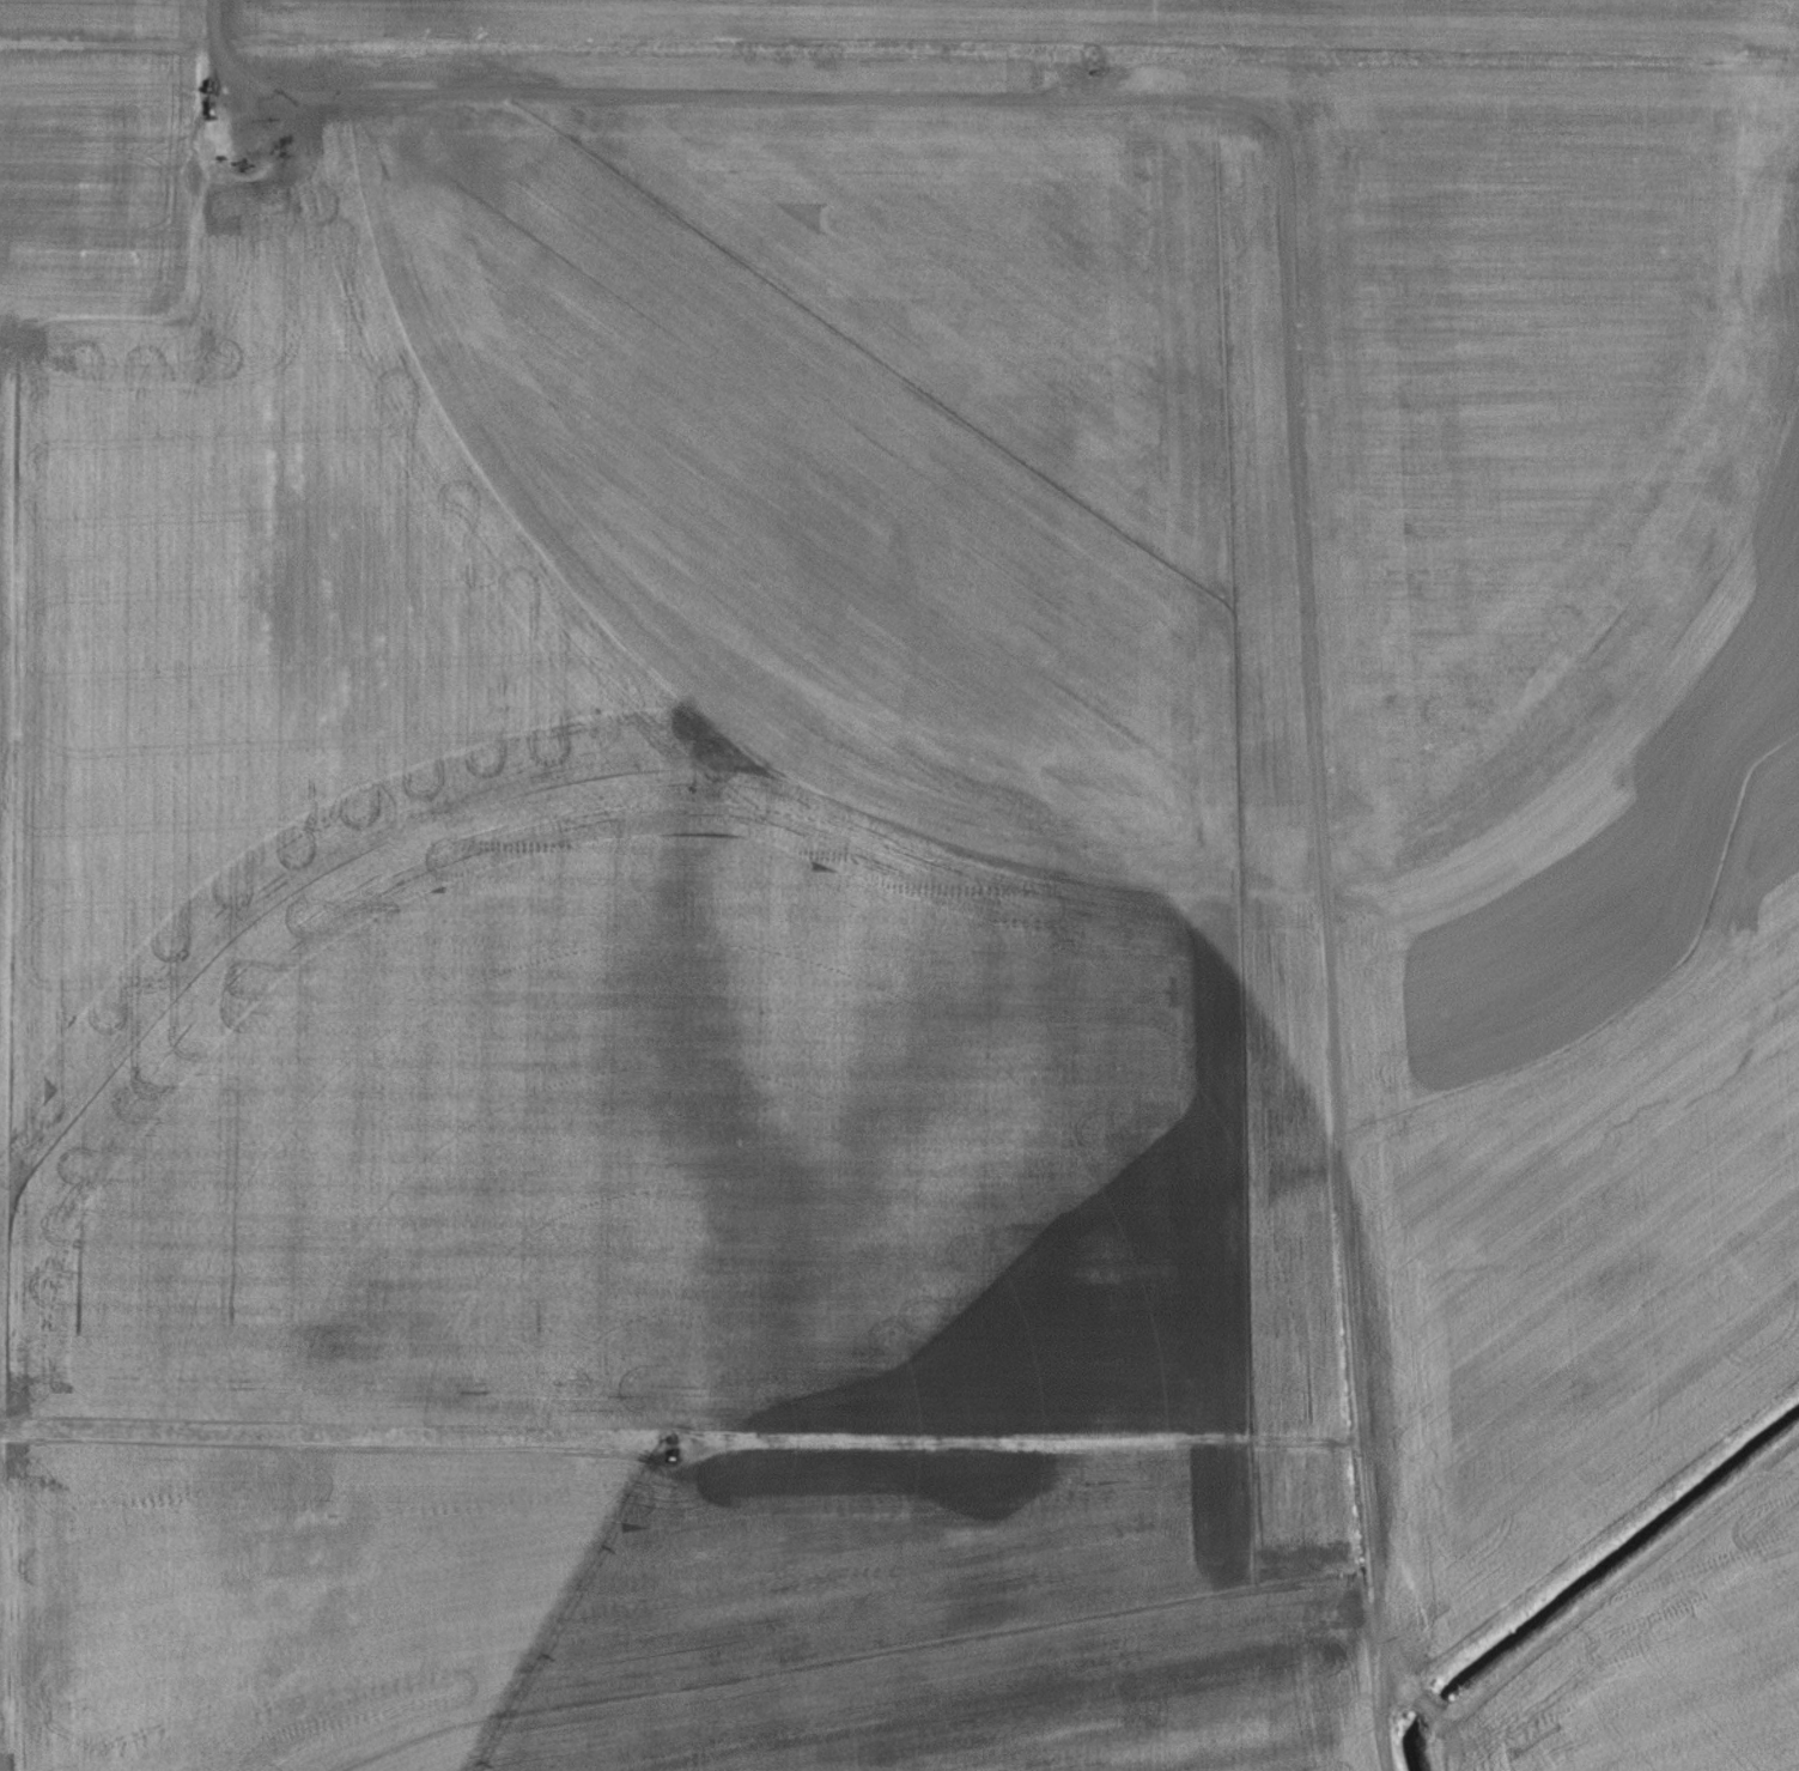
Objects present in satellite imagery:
road: (107, 46)
road: (1294, 335)
road: (682, 1444)
road: (1382, 1728)

